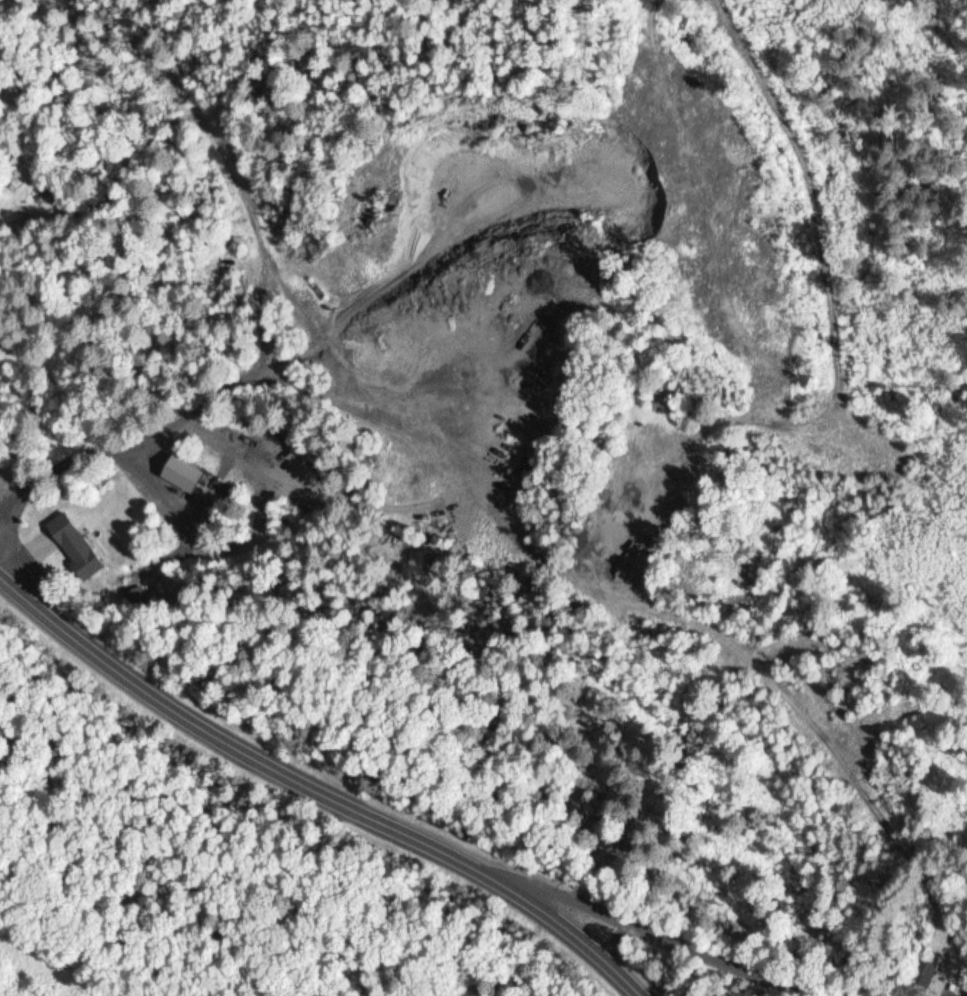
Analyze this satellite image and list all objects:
building: (78, 545)
road: (53, 698)
road: (322, 781)
road: (692, 942)

